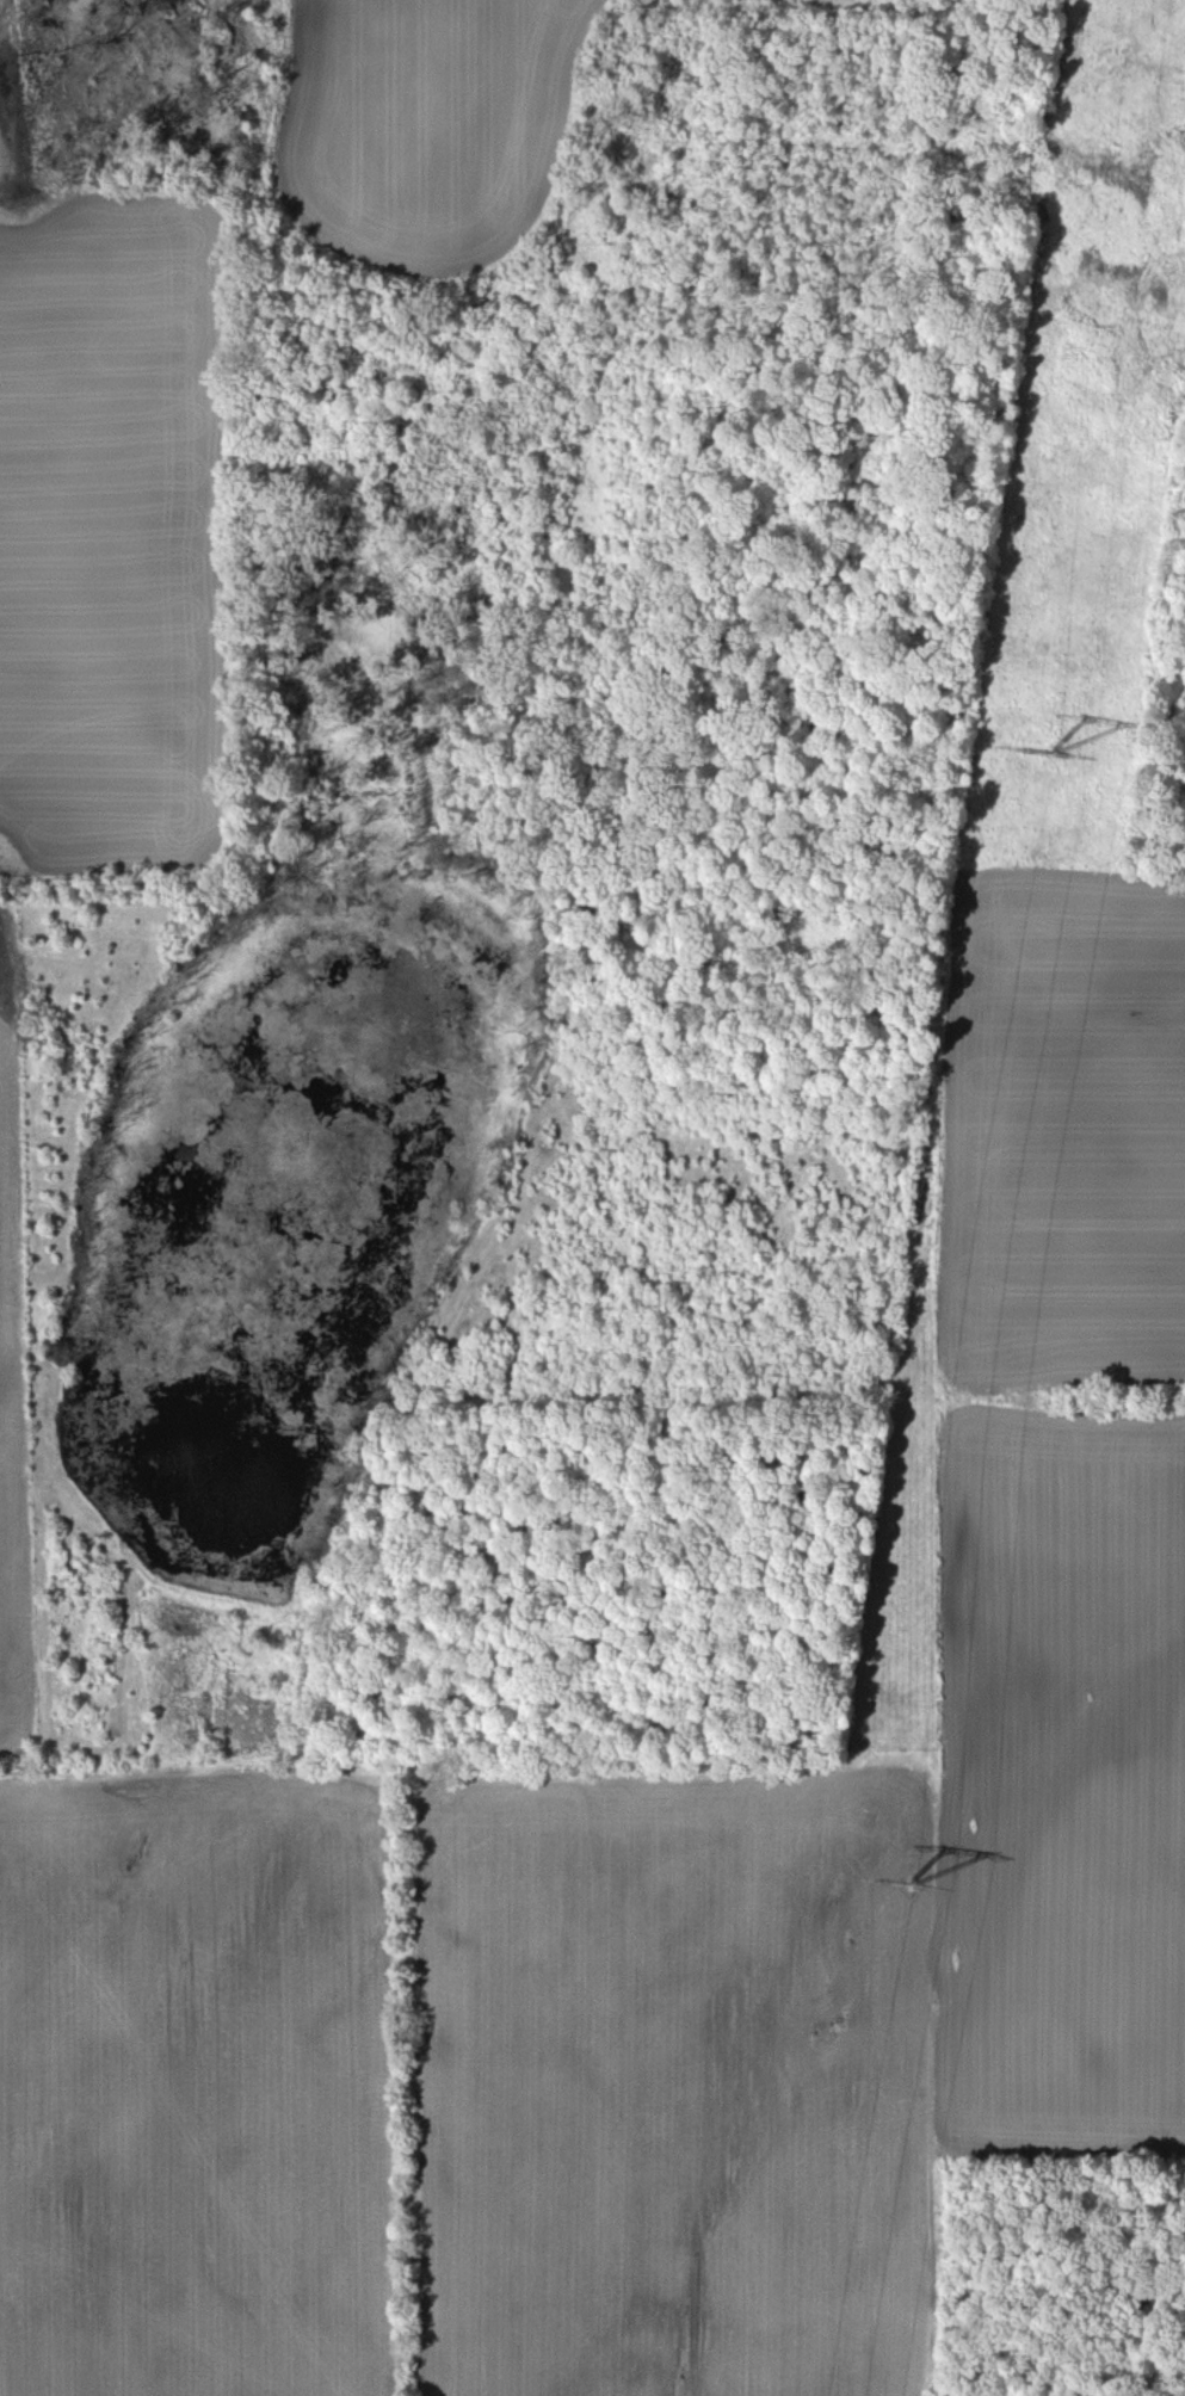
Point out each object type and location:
power tower: (1054, 753)
power tower: (912, 1882)

